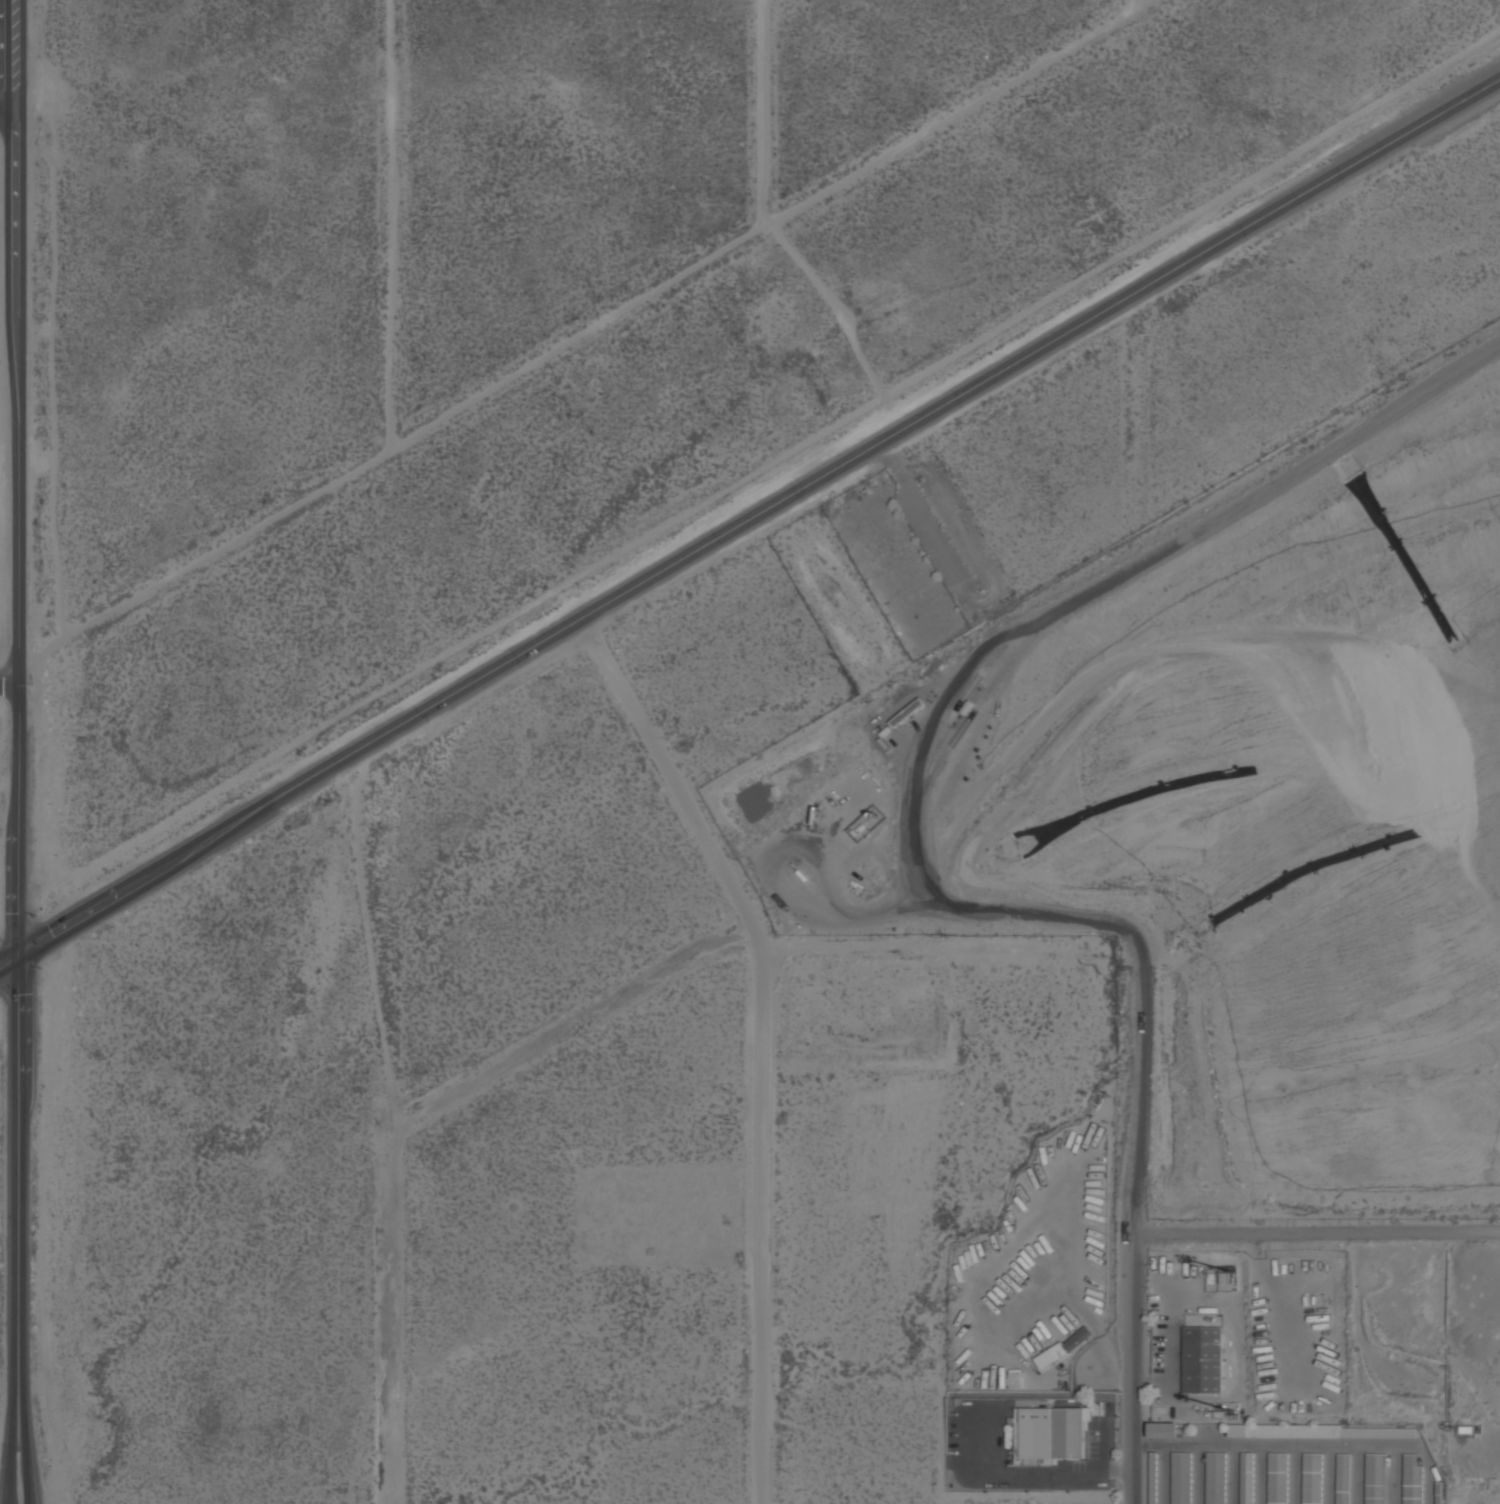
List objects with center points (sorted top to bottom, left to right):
road: (1143, 1)
road: (769, 112)
road: (10, 115)
road: (398, 222)
road: (582, 335)
road: (750, 520)
building: (897, 577)
road: (8, 674)
road: (17, 708)
building: (908, 711)
road: (912, 809)
road: (1033, 913)
landfill: (1158, 1006)
road: (762, 1038)
road: (1138, 1083)
road: (407, 1115)
road: (1177, 1234)
building: (1063, 1346)
building: (1202, 1359)
building: (1015, 1377)
building: (1164, 1429)
building: (1322, 1430)
building: (1068, 1431)
road: (12, 1460)
road: (28, 1460)
building: (1154, 1477)
building: (1182, 1477)
building: (1216, 1477)
building: (1247, 1477)
building: (1278, 1477)
building: (1313, 1478)
building: (1343, 1478)
building: (1375, 1478)
building: (1411, 1480)

